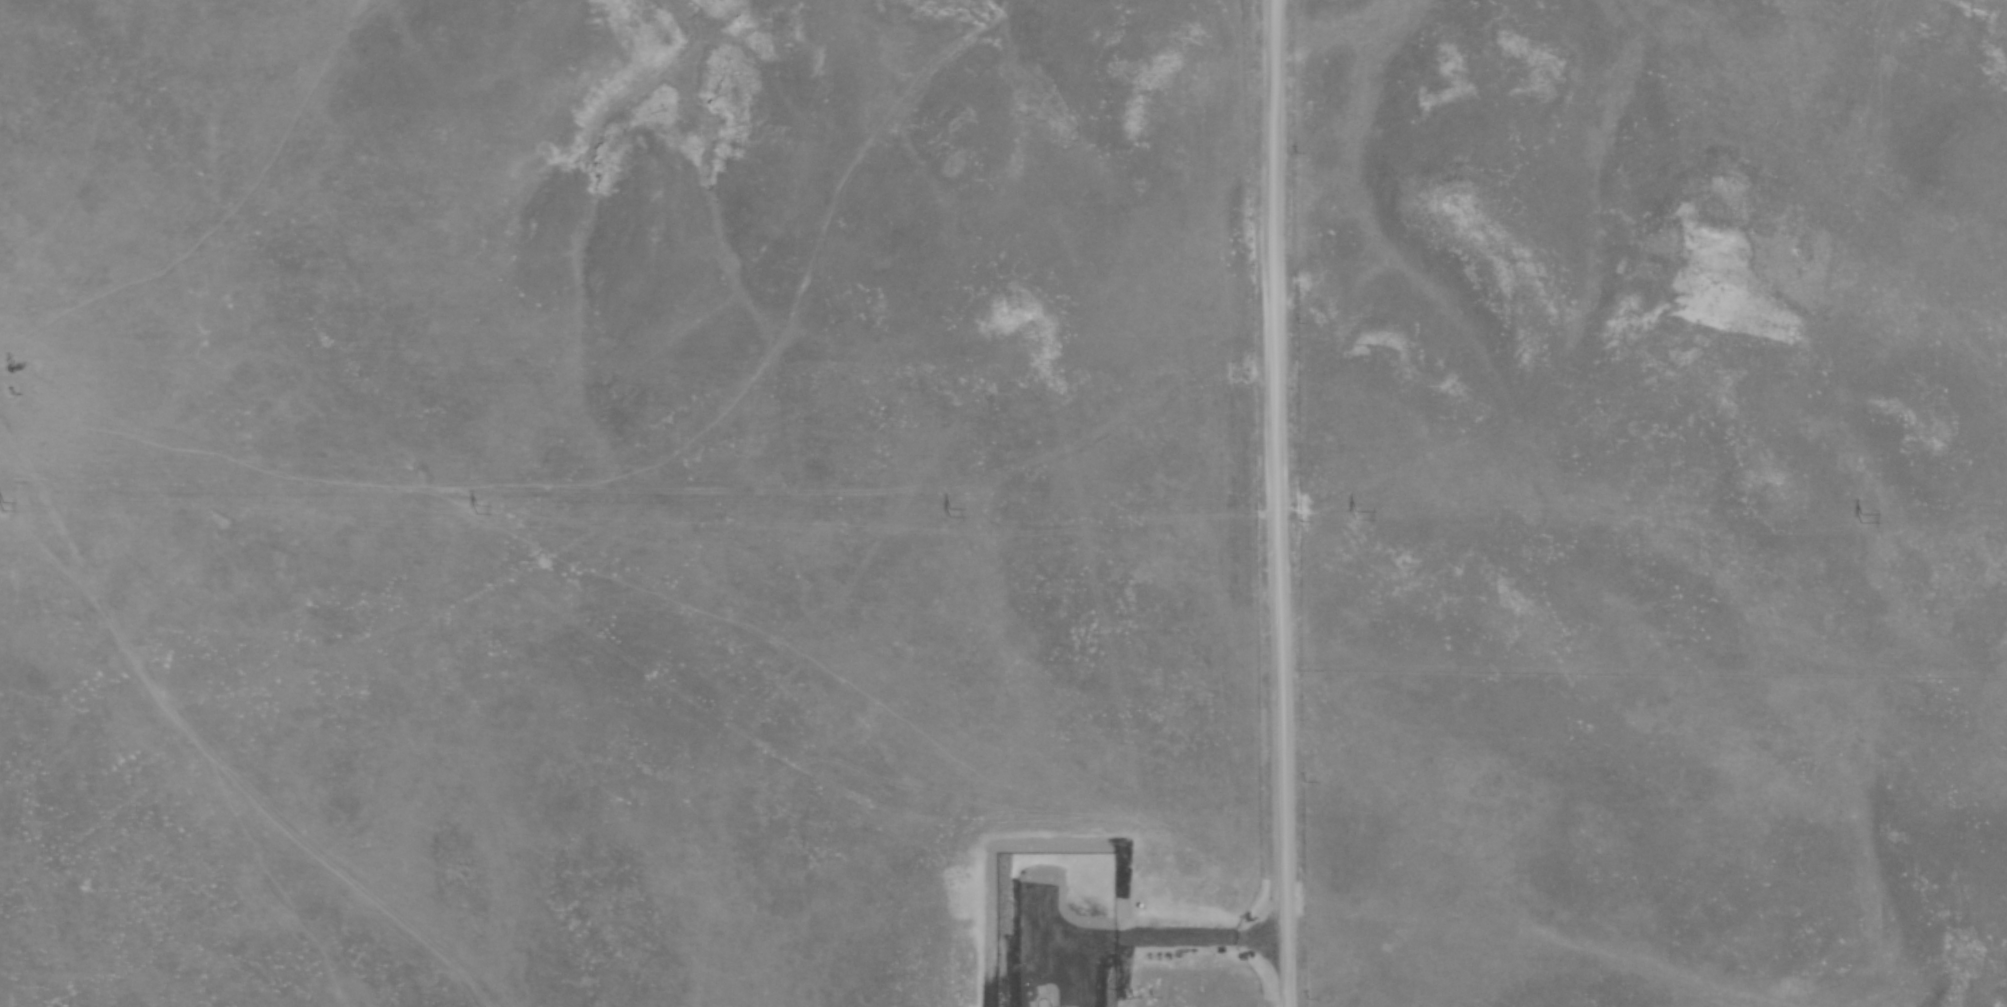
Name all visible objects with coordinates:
road: (1272, 503)
power tower: (5, 505)
power tower: (477, 509)
power tower: (950, 511)
power tower: (1355, 514)
power tower: (1862, 517)
road: (1193, 944)

